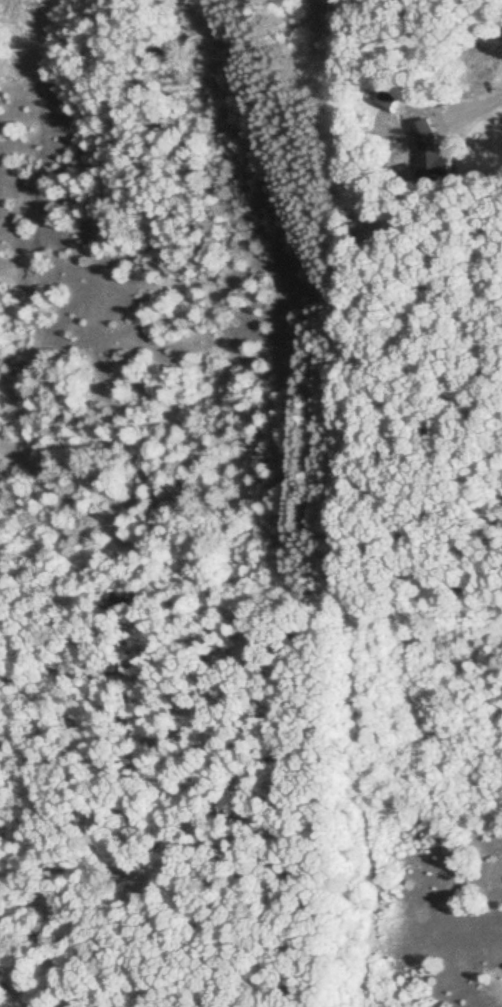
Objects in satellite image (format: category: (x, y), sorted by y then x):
building: (396, 91)
building: (434, 151)

